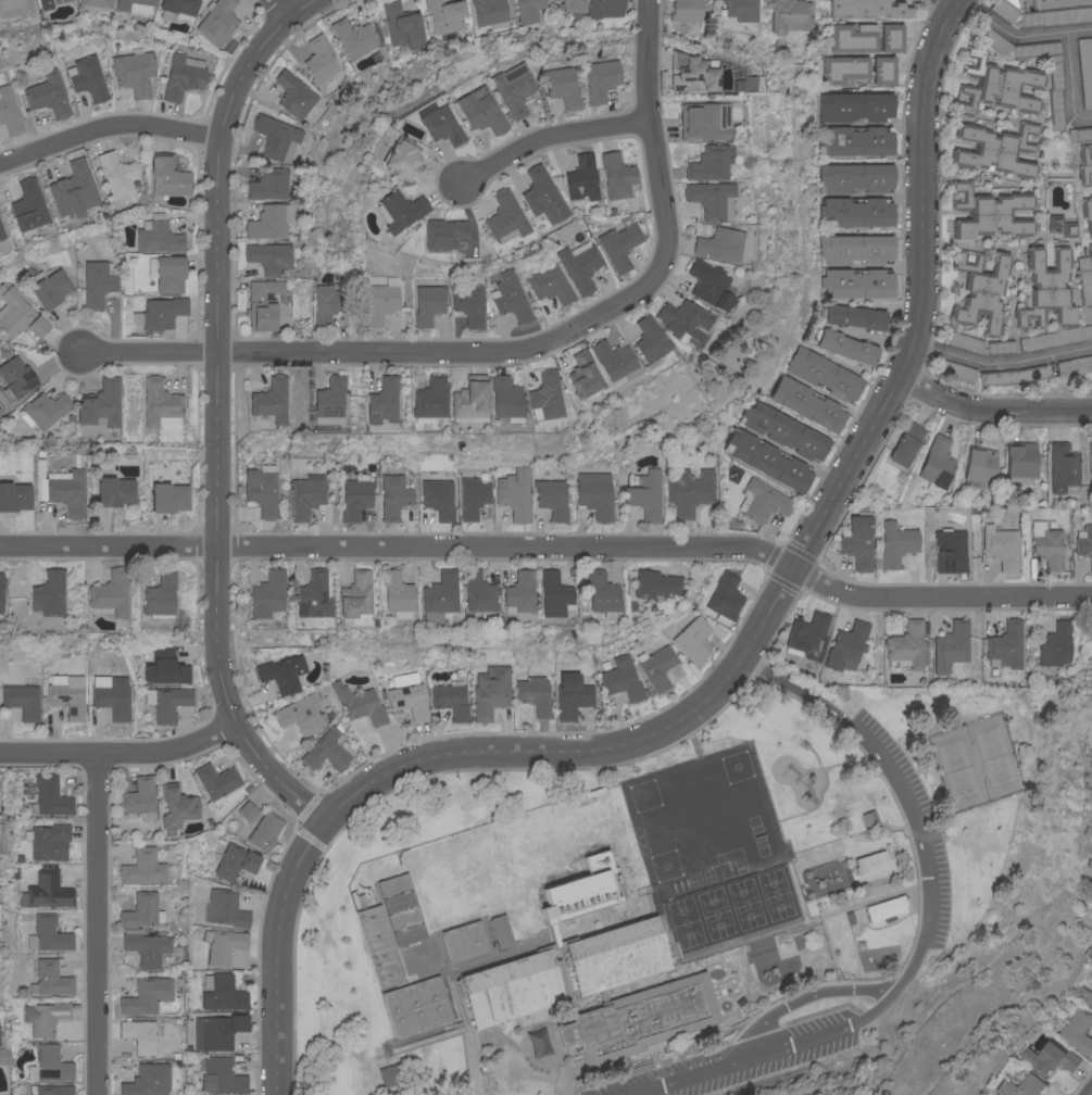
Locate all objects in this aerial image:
building: (108, 0)
road: (954, 2)
building: (49, 3)
building: (1057, 3)
building: (1017, 4)
building: (135, 5)
building: (573, 5)
building: (15, 8)
building: (177, 8)
road: (284, 8)
building: (606, 8)
building: (869, 9)
building: (529, 10)
building: (686, 10)
building: (742, 10)
building: (1003, 10)
building: (491, 12)
building: (445, 15)
building: (791, 15)
building: (1056, 16)
building: (217, 21)
building: (402, 24)
road: (1078, 29)
road: (1011, 34)
building: (854, 37)
building: (892, 37)
building: (357, 38)
building: (991, 38)
building: (1035, 49)
building: (321, 60)
building: (846, 70)
building: (884, 70)
building: (1085, 70)
building: (134, 72)
building: (693, 72)
building: (181, 75)
building: (87, 78)
building: (601, 79)
road: (1069, 84)
building: (996, 85)
building: (563, 87)
building: (514, 88)
building: (1055, 91)
building: (47, 95)
building: (294, 95)
building: (855, 106)
building: (480, 110)
building: (9, 112)
building: (705, 121)
building: (440, 124)
road: (108, 126)
building: (1080, 134)
road: (550, 135)
building: (277, 137)
building: (855, 140)
building: (996, 149)
building: (403, 159)
building: (710, 163)
building: (1083, 165)
building: (116, 174)
building: (617, 175)
building: (168, 176)
building: (855, 177)
building: (582, 178)
building: (269, 184)
building: (76, 187)
building: (542, 196)
building: (712, 199)
building: (27, 206)
building: (400, 210)
building: (857, 212)
building: (990, 212)
building: (1087, 214)
building: (506, 217)
building: (273, 219)
building: (1063, 226)
building: (444, 232)
building: (1, 234)
building: (158, 236)
building: (720, 244)
building: (619, 246)
building: (857, 249)
building: (1090, 249)
building: (269, 256)
building: (580, 265)
building: (167, 273)
building: (98, 281)
building: (548, 282)
building: (857, 282)
building: (710, 284)
building: (48, 288)
building: (1046, 288)
building: (1084, 288)
building: (980, 290)
road: (922, 295)
building: (511, 297)
building: (263, 303)
building: (380, 303)
building: (325, 304)
building: (428, 304)
building: (469, 304)
building: (17, 313)
building: (160, 313)
building: (855, 316)
building: (686, 319)
building: (1056, 337)
building: (650, 339)
building: (964, 341)
building: (849, 347)
building: (1001, 347)
road: (518, 349)
building: (615, 360)
road: (1002, 362)
building: (1075, 364)
building: (956, 370)
building: (825, 374)
building: (1013, 375)
building: (585, 376)
building: (14, 378)
building: (547, 395)
building: (330, 397)
building: (430, 397)
building: (507, 398)
building: (470, 399)
building: (272, 400)
building: (384, 401)
building: (100, 403)
building: (160, 403)
building: (807, 404)
road: (993, 408)
building: (45, 410)
road: (218, 412)
building: (785, 429)
building: (906, 443)
road: (792, 454)
building: (768, 461)
building: (937, 462)
building: (1021, 462)
building: (980, 464)
building: (1090, 464)
building: (1064, 468)
building: (40, 486)
building: (262, 489)
building: (66, 490)
building: (114, 491)
building: (690, 491)
building: (515, 493)
building: (643, 493)
building: (594, 494)
building: (306, 495)
building: (14, 496)
building: (170, 496)
building: (355, 496)
building: (393, 496)
building: (551, 496)
building: (473, 498)
building: (439, 499)
building: (763, 501)
building: (857, 540)
building: (1083, 542)
building: (896, 543)
building: (1046, 544)
road: (399, 546)
building: (1001, 546)
building: (950, 551)
building: (1, 580)
building: (654, 583)
building: (477, 591)
building: (111, 592)
building: (518, 592)
building: (602, 592)
building: (49, 593)
building: (268, 594)
building: (354, 594)
building: (396, 594)
building: (553, 594)
building: (313, 595)
building: (438, 595)
building: (160, 596)
road: (940, 596)
building: (725, 597)
building: (0, 605)
building: (806, 634)
building: (692, 639)
building: (1056, 644)
building: (907, 645)
building: (951, 645)
building: (1005, 645)
building: (846, 646)
building: (165, 666)
building: (660, 667)
building: (281, 674)
building: (622, 679)
building: (490, 691)
building: (535, 694)
building: (112, 695)
building: (67, 697)
building: (572, 697)
building: (451, 698)
building: (22, 700)
building: (409, 701)
building: (167, 702)
building: (359, 703)
building: (298, 716)
building: (326, 750)
road: (122, 752)
road: (590, 752)
park: (974, 764)
building: (216, 780)
building: (50, 796)
building: (138, 796)
building: (177, 806)
building: (247, 810)
building: (582, 810)
building: (869, 818)
building: (588, 827)
building: (265, 830)
building: (47, 840)
building: (235, 861)
building: (870, 861)
building: (142, 867)
park: (877, 872)
building: (393, 884)
building: (46, 891)
building: (575, 894)
building: (398, 901)
building: (225, 908)
building: (886, 908)
building: (141, 910)
building: (403, 918)
road: (98, 923)
road: (924, 928)
building: (499, 931)
building: (49, 934)
building: (409, 934)
building: (464, 941)
building: (224, 944)
building: (379, 945)
building: (147, 947)
building: (414, 951)
road: (278, 954)
building: (419, 967)
building: (50, 979)
building: (512, 989)
building: (223, 993)
building: (631, 993)
building: (147, 995)
building: (1085, 995)
road: (802, 997)
building: (416, 1007)
building: (45, 1017)
building: (1078, 1030)
building: (217, 1031)
building: (139, 1035)
building: (539, 1047)
building: (4, 1055)
building: (1050, 1057)
building: (49, 1063)
building: (389, 1071)
building: (222, 1077)
building: (142, 1081)
building: (1019, 1085)
building: (51, 1090)

